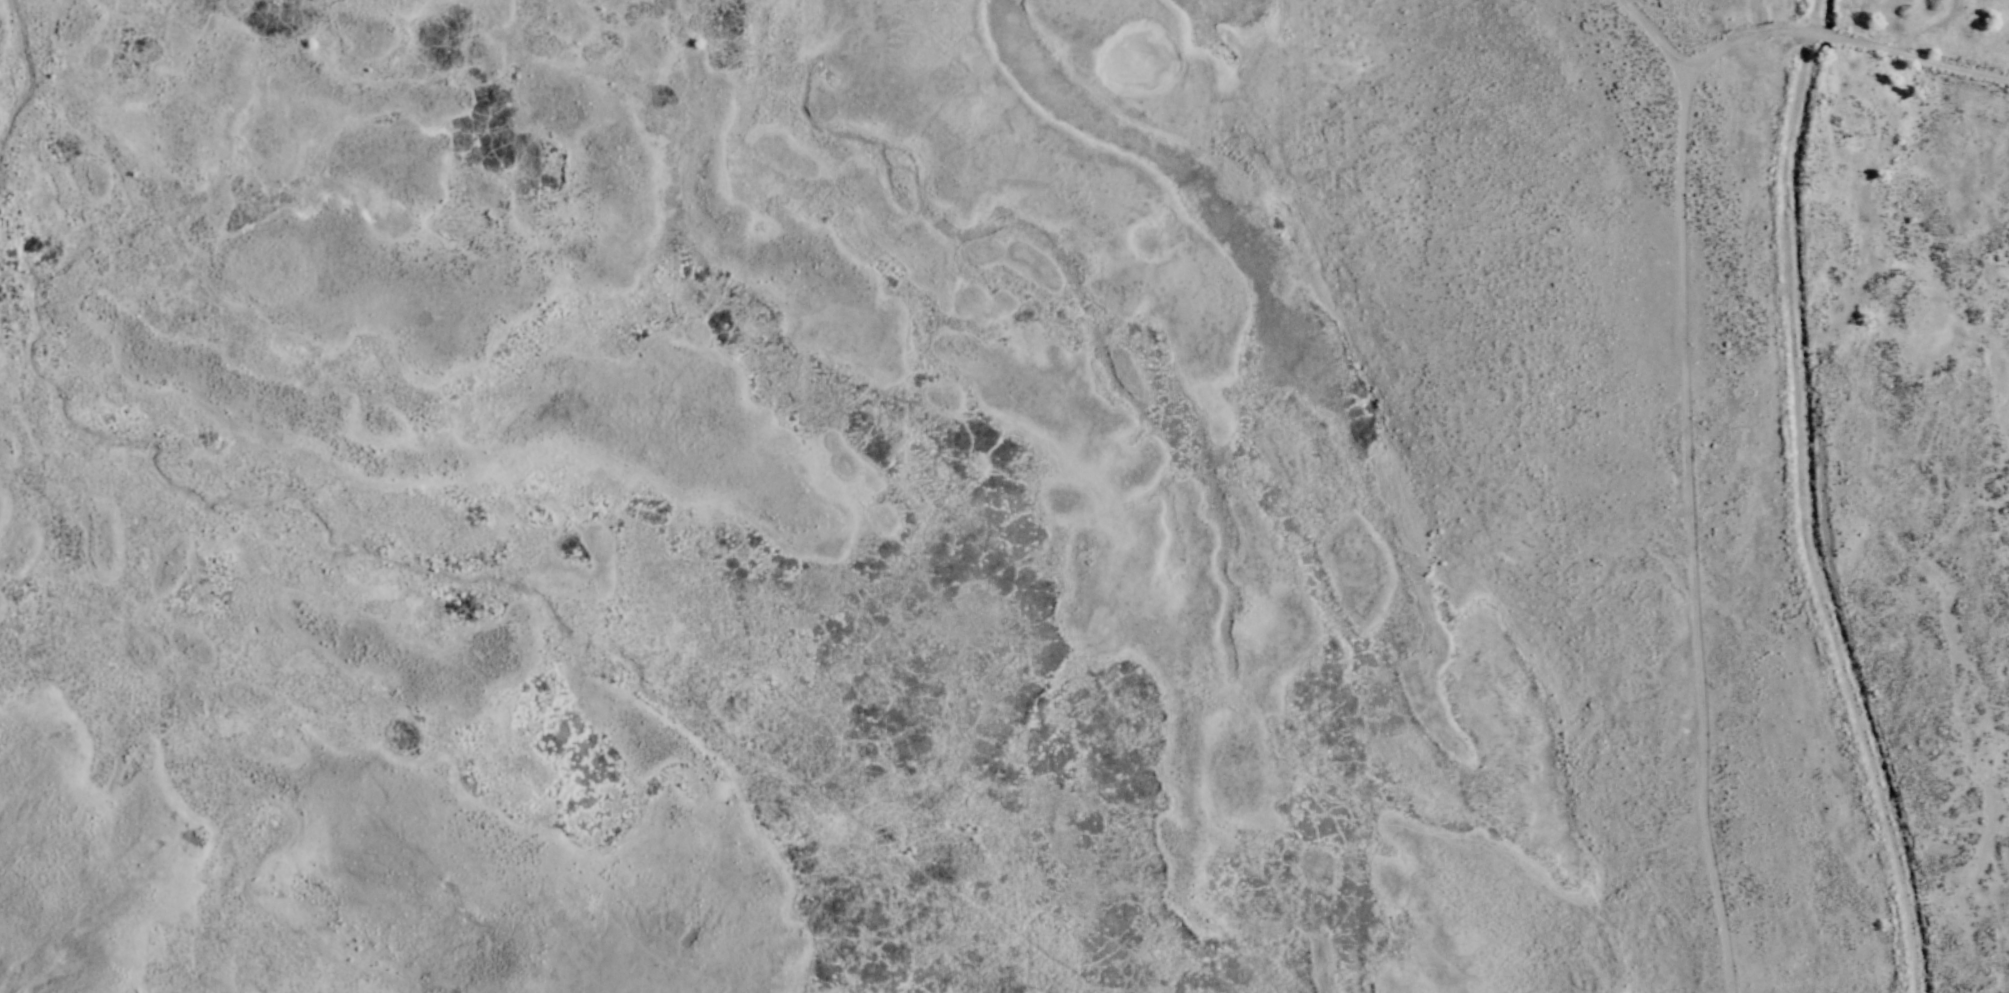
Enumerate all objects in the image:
road: (1846, 45)
road: (1692, 484)
road: (1805, 502)

